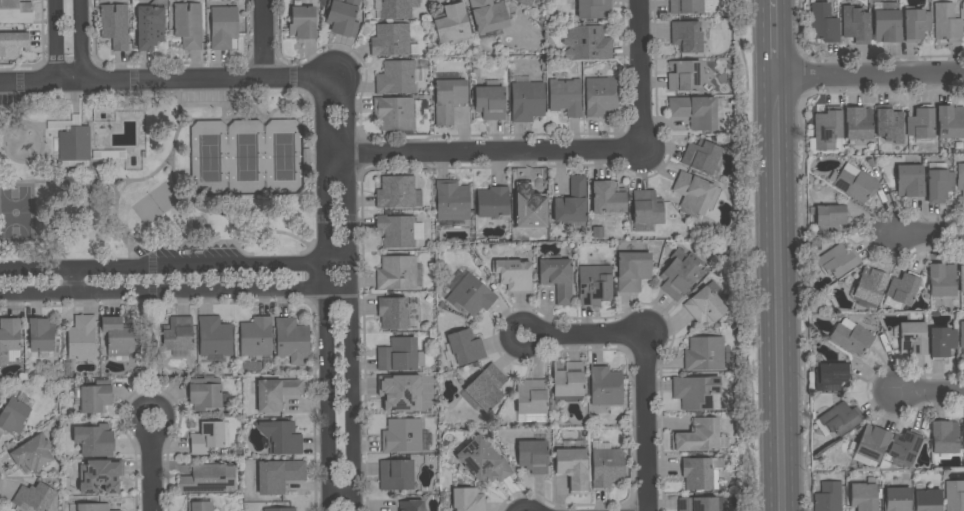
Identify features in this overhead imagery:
building: (525, 2)
building: (689, 6)
building: (592, 8)
building: (394, 9)
building: (15, 12)
building: (489, 15)
building: (343, 17)
building: (947, 22)
building: (303, 23)
building: (824, 23)
building: (452, 24)
building: (916, 24)
building: (188, 25)
building: (856, 25)
building: (115, 26)
building: (149, 26)
building: (887, 26)
building: (223, 27)
building: (687, 36)
building: (391, 39)
road: (779, 39)
road: (262, 40)
road: (53, 41)
road: (84, 41)
building: (586, 43)
building: (13, 44)
road: (637, 76)
building: (685, 76)
road: (872, 76)
building: (396, 77)
road: (168, 81)
building: (600, 93)
building: (565, 96)
building: (448, 99)
building: (527, 99)
building: (490, 103)
building: (694, 111)
building: (394, 113)
building: (950, 121)
building: (858, 123)
building: (921, 125)
building: (889, 126)
building: (827, 128)
building: (73, 142)
road: (479, 154)
building: (702, 156)
park: (158, 177)
building: (910, 180)
building: (960, 180)
building: (855, 183)
building: (939, 185)
building: (396, 192)
building: (695, 193)
building: (608, 197)
building: (530, 199)
building: (452, 201)
building: (493, 202)
building: (572, 202)
building: (647, 207)
building: (830, 218)
building: (396, 230)
road: (928, 234)
building: (834, 262)
road: (175, 267)
building: (632, 271)
building: (396, 272)
building: (681, 273)
building: (513, 274)
building: (962, 277)
building: (557, 278)
building: (942, 280)
road: (70, 283)
building: (594, 284)
building: (870, 285)
building: (903, 288)
road: (175, 293)
road: (351, 293)
road: (325, 294)
building: (469, 294)
road: (781, 294)
building: (957, 303)
building: (704, 306)
building: (393, 313)
building: (41, 334)
building: (178, 334)
building: (962, 334)
building: (851, 336)
building: (8, 337)
building: (117, 337)
building: (256, 337)
road: (589, 337)
building: (81, 338)
building: (215, 338)
building: (291, 338)
road: (506, 338)
building: (913, 338)
building: (942, 342)
building: (465, 346)
building: (704, 354)
building: (398, 355)
building: (962, 356)
building: (830, 376)
building: (568, 380)
building: (606, 386)
building: (486, 387)
building: (696, 392)
road: (929, 392)
building: (276, 393)
building: (398, 393)
building: (96, 397)
building: (207, 397)
building: (533, 401)
road: (150, 406)
building: (13, 416)
building: (840, 419)
road: (644, 423)
building: (962, 431)
building: (402, 435)
building: (698, 436)
building: (207, 437)
building: (281, 437)
building: (944, 437)
building: (98, 440)
building: (872, 443)
building: (904, 446)
building: (33, 454)
building: (533, 456)
building: (483, 460)
building: (607, 467)
building: (573, 469)
building: (701, 472)
road: (151, 474)
building: (277, 475)
building: (396, 475)
building: (101, 478)
building: (207, 478)
building: (954, 495)
building: (863, 496)
building: (34, 497)
building: (828, 497)
building: (467, 499)
building: (897, 499)
building: (928, 499)
building: (702, 504)
building: (411, 505)
building: (199, 506)
building: (92, 507)
building: (279, 509)
road: (525, 509)
building: (117, 510)

